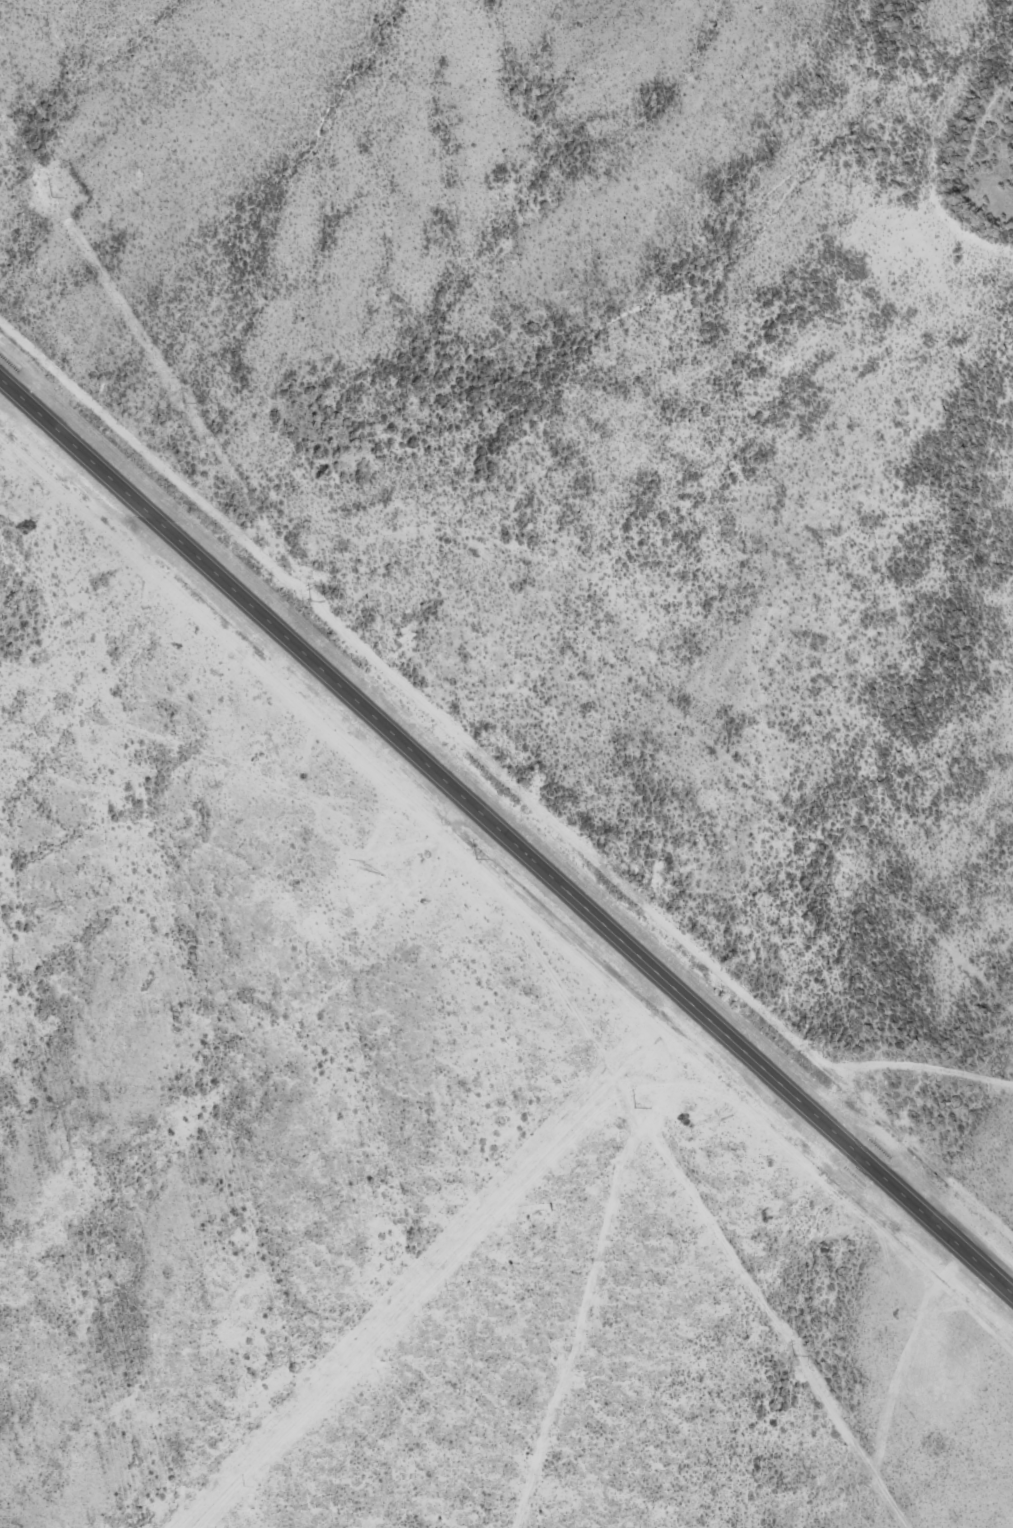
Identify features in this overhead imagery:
road: (507, 836)
road: (650, 1206)

